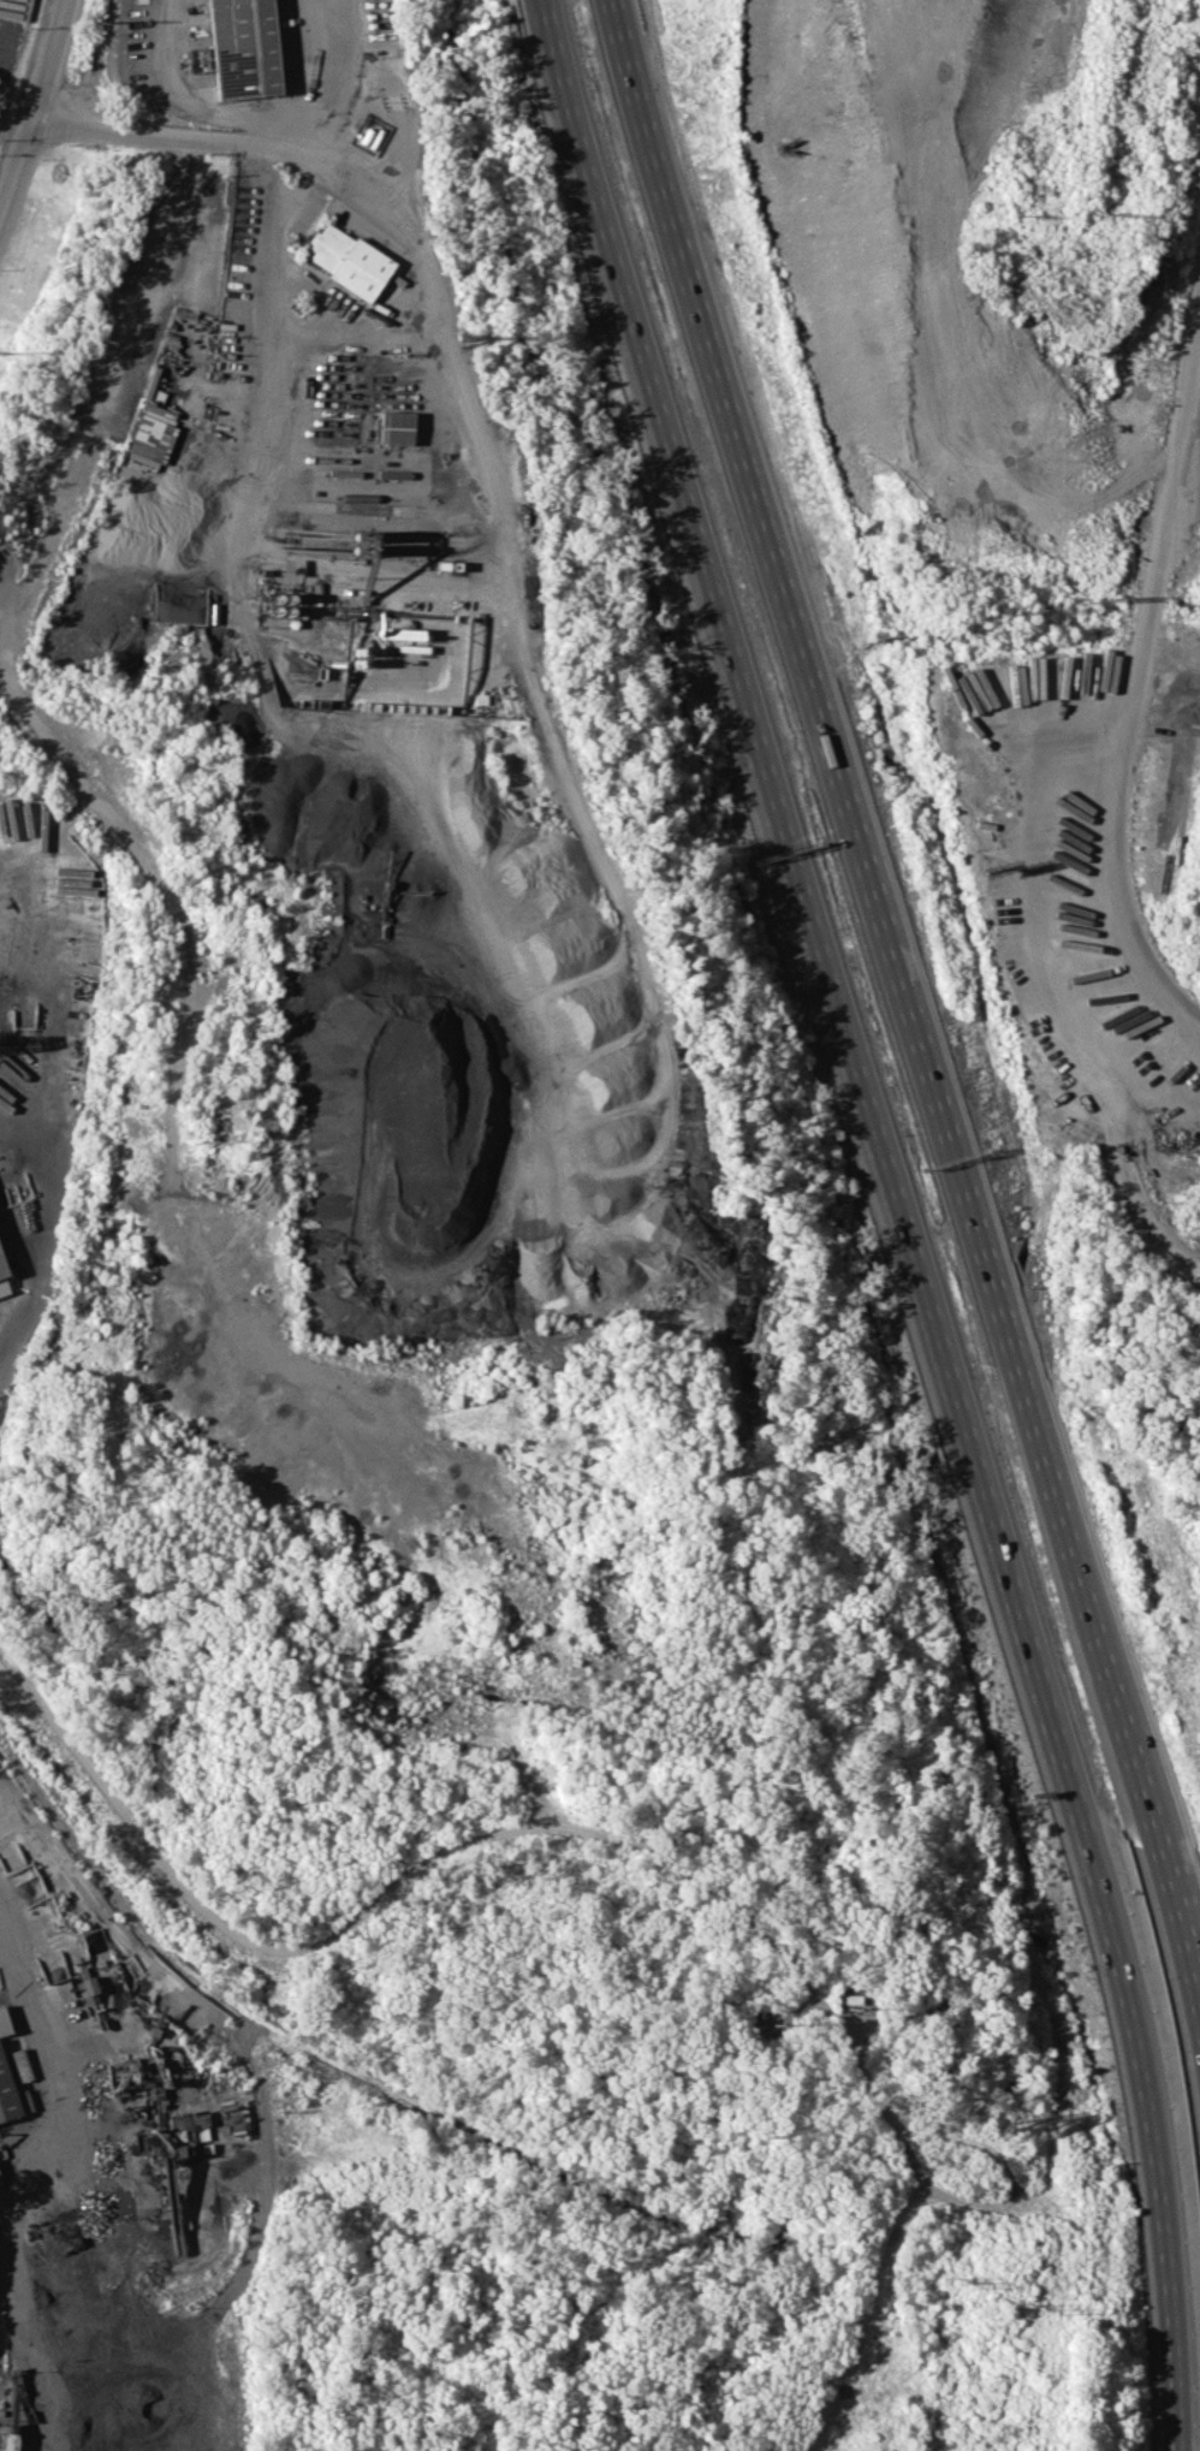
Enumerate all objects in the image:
power tower: (99, 18)
building: (243, 46)
road: (308, 75)
road: (176, 85)
road: (35, 106)
road: (259, 132)
road: (360, 180)
power tower: (1041, 214)
power tower: (1112, 214)
road: (251, 242)
building: (347, 260)
power tower: (13, 355)
building: (396, 427)
building: (150, 438)
road: (1166, 502)
road: (1181, 533)
power tower: (1100, 595)
power tower: (1033, 609)
road: (1115, 867)
road: (1047, 980)
road: (913, 1005)
road: (896, 1219)
building: (6, 1274)
road: (391, 1887)
road: (30, 2005)
building: (4, 2020)
road: (1196, 2020)
road: (1196, 2034)
railway: (326, 2055)
building: (11, 2096)
road: (1053, 2142)
road: (974, 2143)
power tower: (969, 2280)
power tower: (1042, 2309)
road: (866, 2316)
building: (7, 2441)

